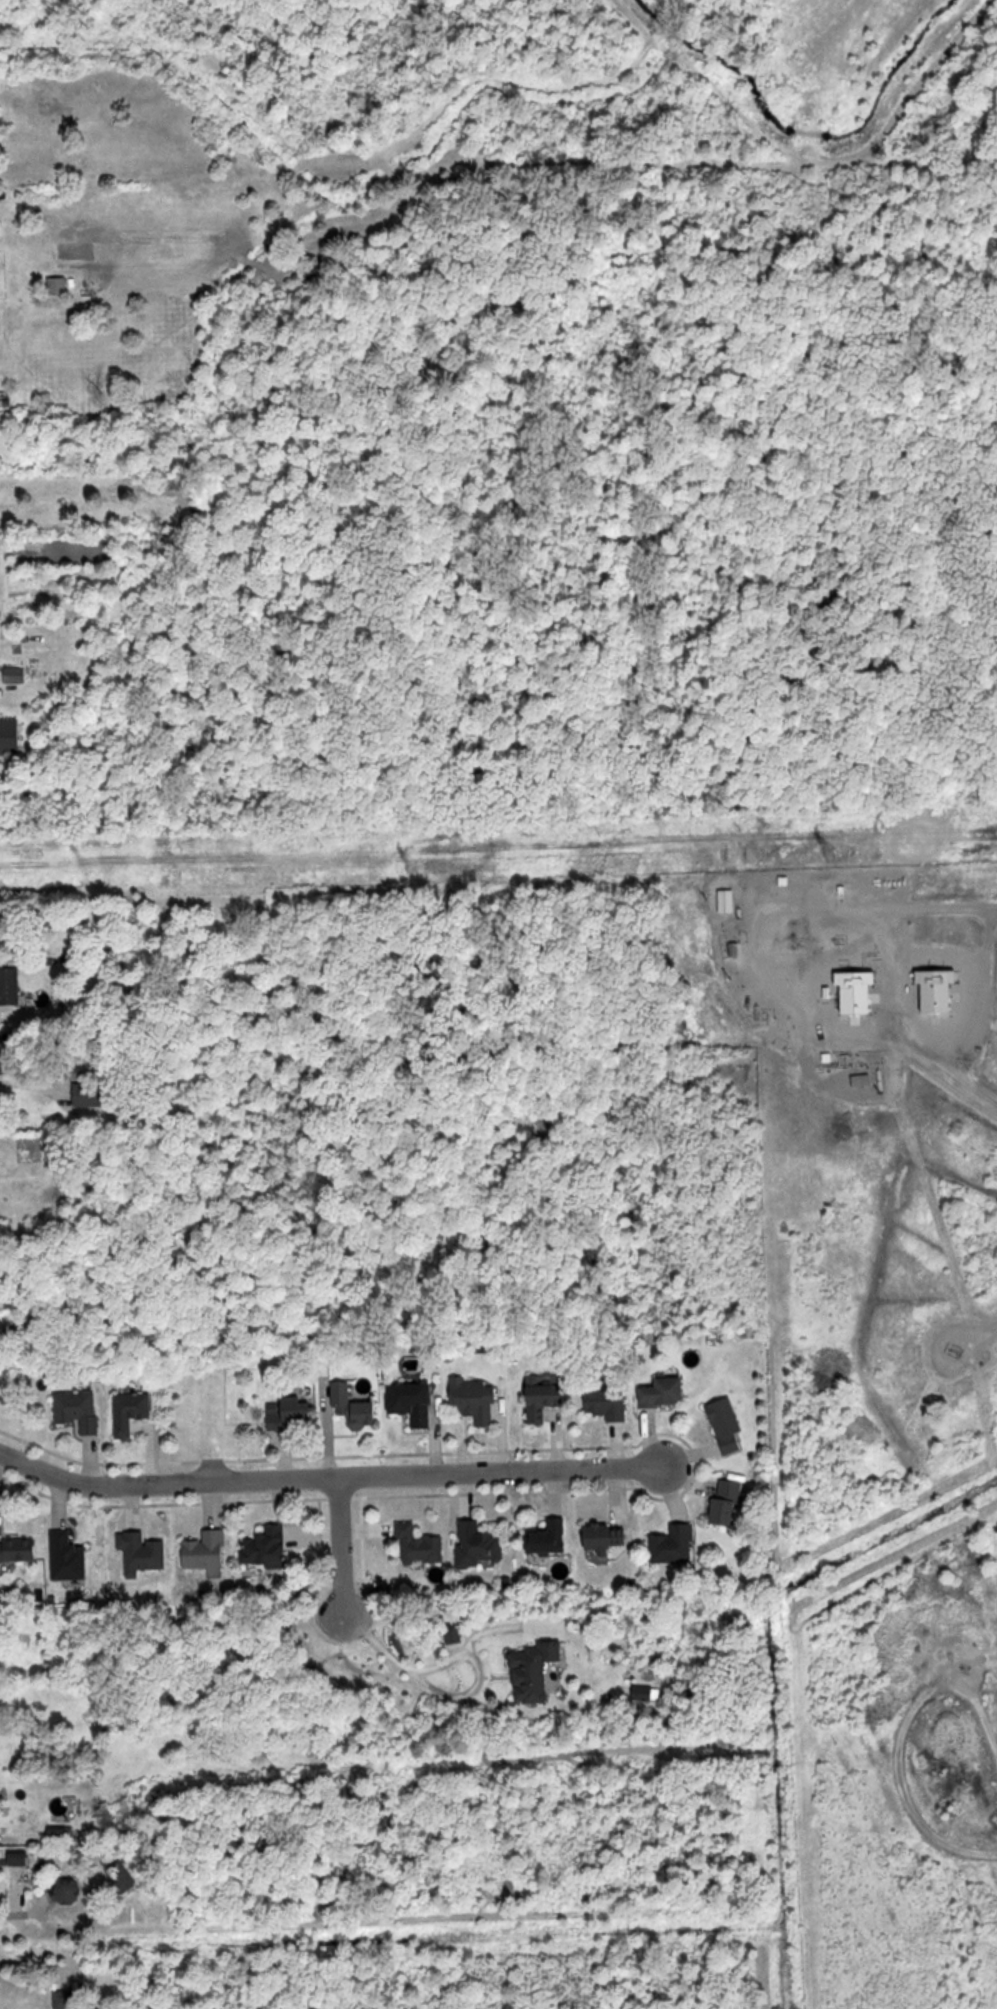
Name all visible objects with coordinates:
building: (59, 286)
building: (15, 674)
power tower: (832, 855)
power tower: (418, 867)
building: (728, 900)
building: (793, 932)
building: (10, 986)
building: (935, 988)
building: (854, 989)
road: (23, 1084)
road: (976, 1089)
building: (91, 1094)
building: (667, 1392)
building: (545, 1397)
building: (477, 1400)
building: (414, 1401)
building: (612, 1401)
building: (358, 1408)
building: (79, 1409)
building: (131, 1411)
building: (293, 1412)
building: (729, 1425)
road: (338, 1477)
building: (730, 1501)
building: (609, 1535)
building: (549, 1536)
building: (479, 1544)
building: (674, 1544)
road: (339, 1545)
building: (420, 1545)
building: (267, 1547)
building: (19, 1548)
building: (207, 1549)
building: (142, 1552)
building: (68, 1556)
building: (533, 1671)
road: (445, 1691)
road: (899, 1740)
building: (19, 1858)
building: (69, 1893)
road: (8, 1916)
building: (66, 1998)

